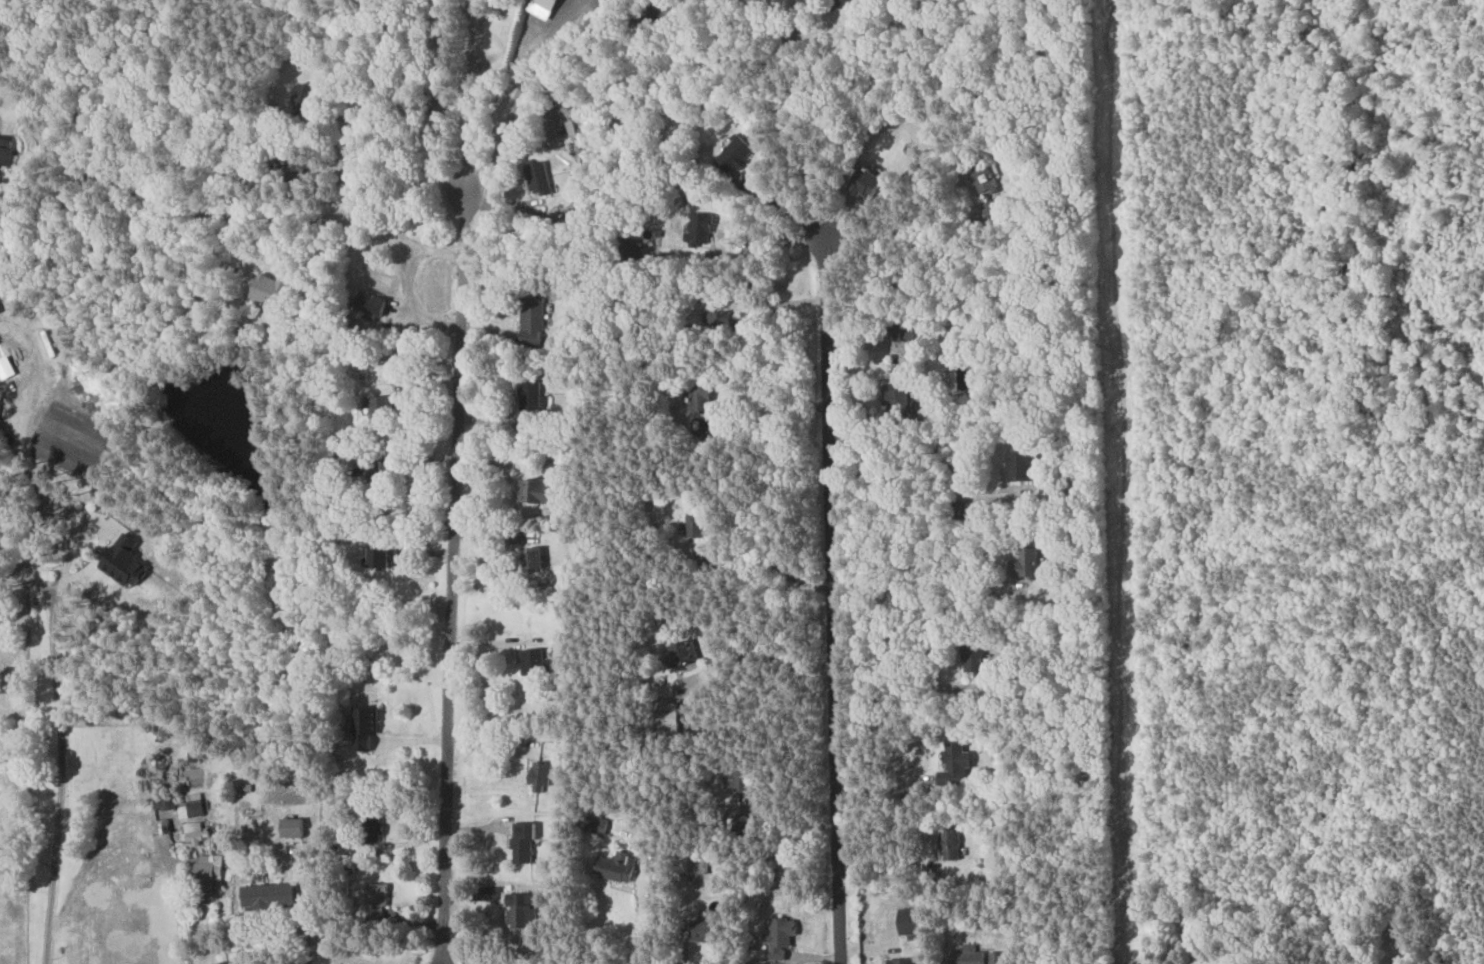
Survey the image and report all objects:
building: (545, 8)
road: (535, 58)
road: (782, 121)
building: (7, 154)
building: (739, 154)
road: (586, 172)
building: (544, 179)
road: (232, 217)
building: (704, 228)
road: (904, 233)
road: (743, 258)
building: (273, 290)
building: (0, 312)
building: (535, 320)
building: (892, 344)
road: (382, 357)
building: (8, 367)
building: (536, 396)
building: (384, 406)
road: (764, 420)
road: (926, 450)
road: (25, 456)
building: (1022, 465)
road: (459, 481)
building: (541, 489)
building: (694, 521)
road: (100, 547)
building: (537, 554)
building: (380, 558)
building: (130, 562)
building: (1019, 566)
road: (908, 568)
road: (25, 582)
road: (839, 602)
building: (684, 653)
building: (977, 659)
building: (539, 662)
road: (695, 686)
road: (905, 692)
building: (957, 763)
building: (543, 775)
road: (65, 777)
building: (166, 803)
building: (195, 806)
road: (788, 823)
building: (297, 828)
building: (197, 833)
building: (528, 841)
road: (889, 858)
road: (88, 859)
building: (621, 867)
building: (212, 870)
building: (271, 896)
road: (311, 901)
building: (382, 901)
road: (176, 905)
building: (525, 911)
road: (634, 921)
building: (916, 922)
building: (714, 932)
building: (783, 938)
building: (983, 956)
building: (908, 961)

